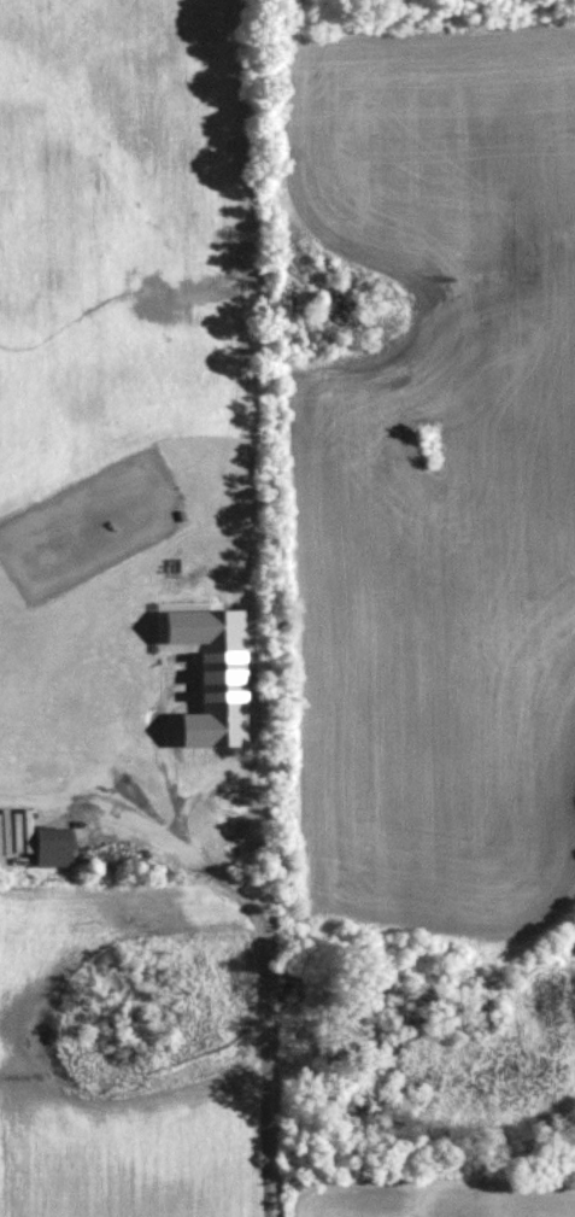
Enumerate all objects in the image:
building: (48, 843)

